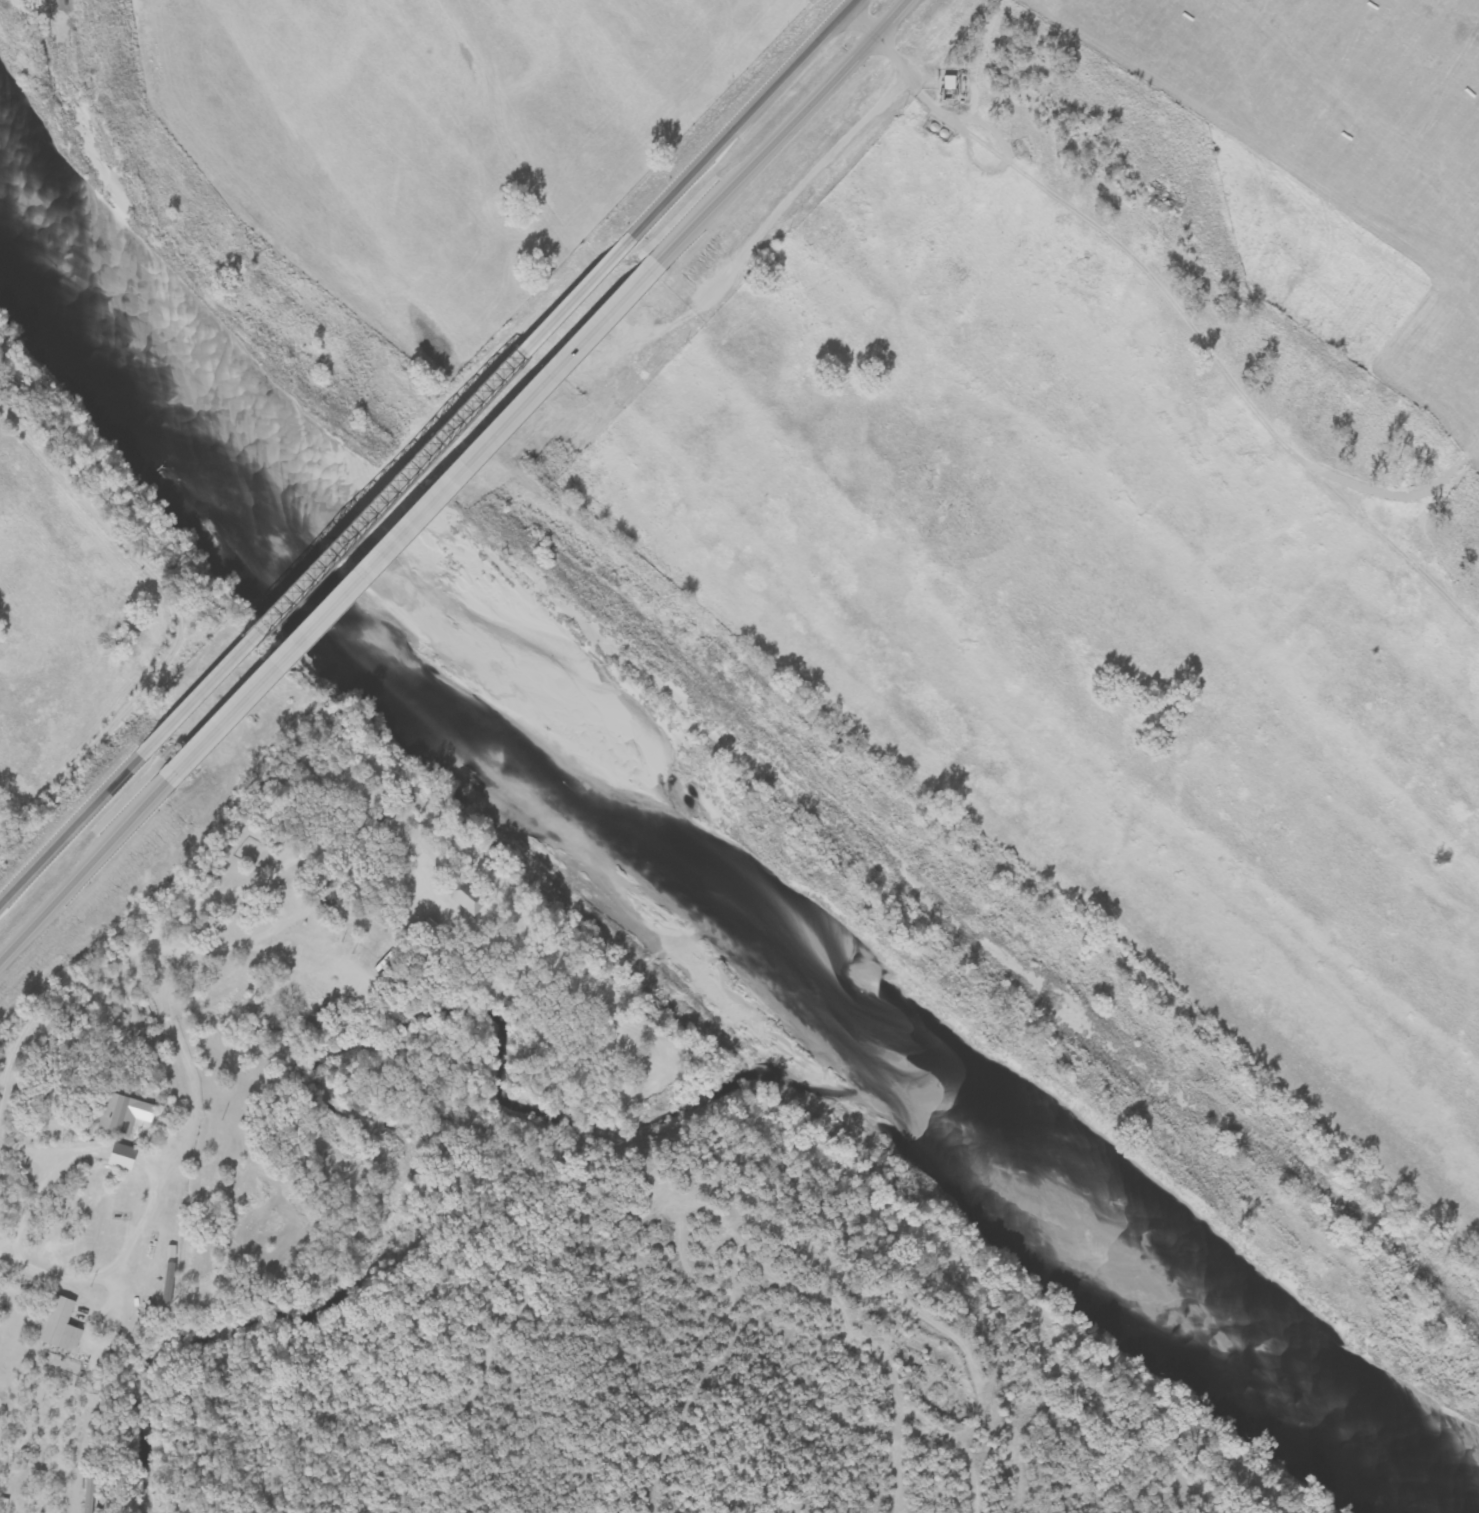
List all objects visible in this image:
road: (886, 16)
road: (858, 20)
building: (947, 83)
road: (741, 119)
road: (966, 137)
road: (764, 148)
road: (384, 498)
road: (411, 522)
road: (69, 829)
road: (83, 868)
river: (691, 874)
building: (463, 895)
road: (167, 927)
building: (114, 1115)
road: (63, 1152)
building: (115, 1156)
road: (43, 1191)
building: (163, 1282)
road: (66, 1284)
building: (57, 1326)
building: (86, 1498)

